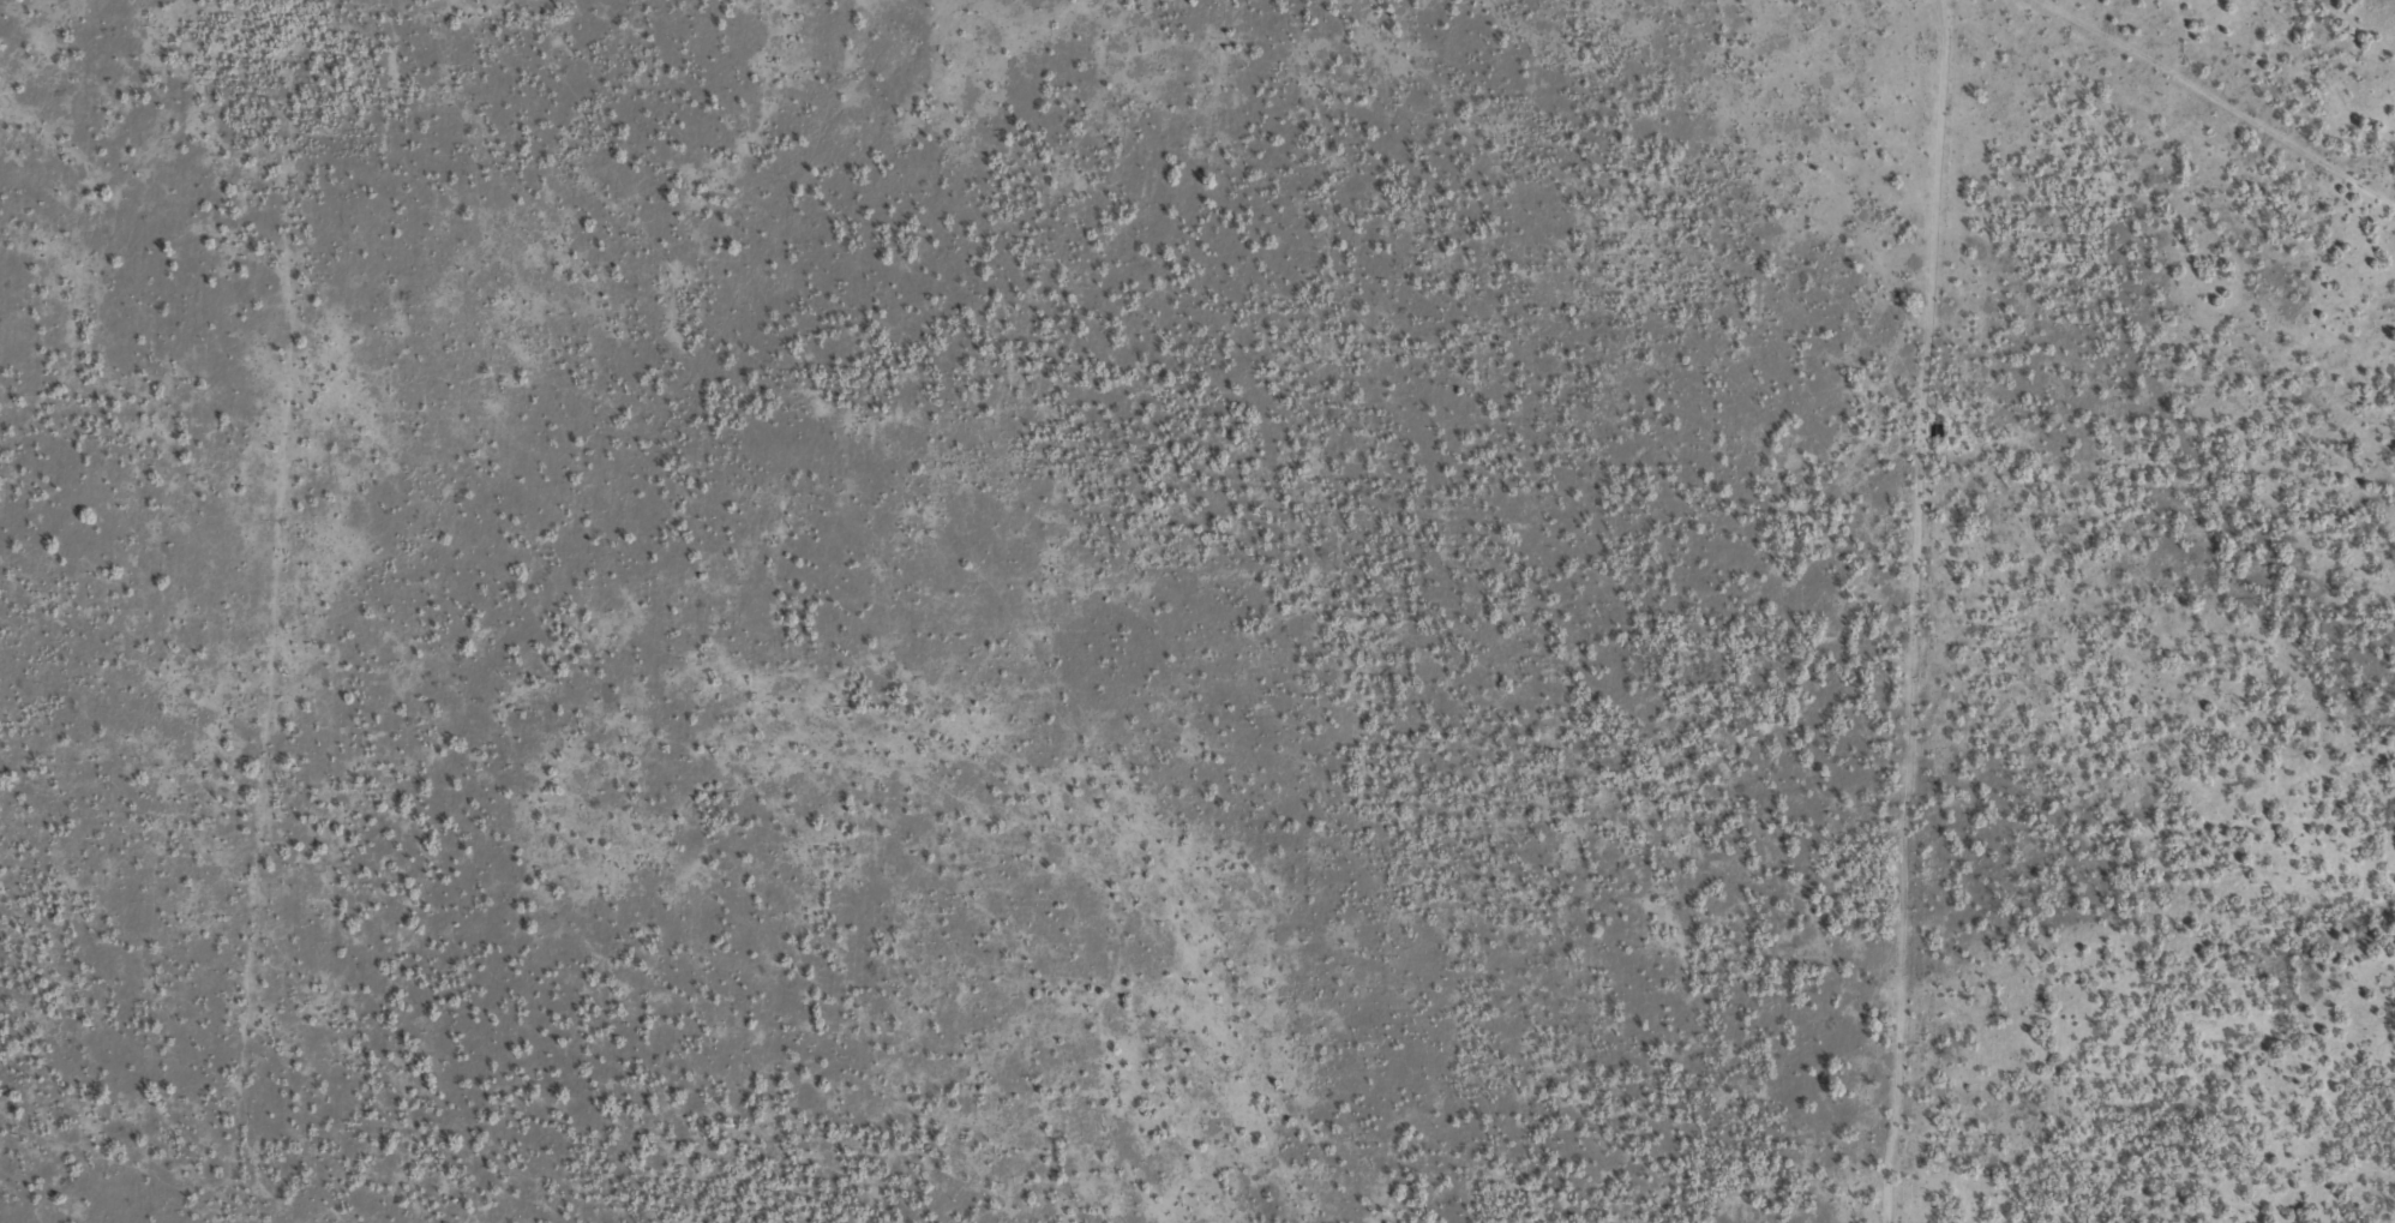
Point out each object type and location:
road: (1904, 610)

